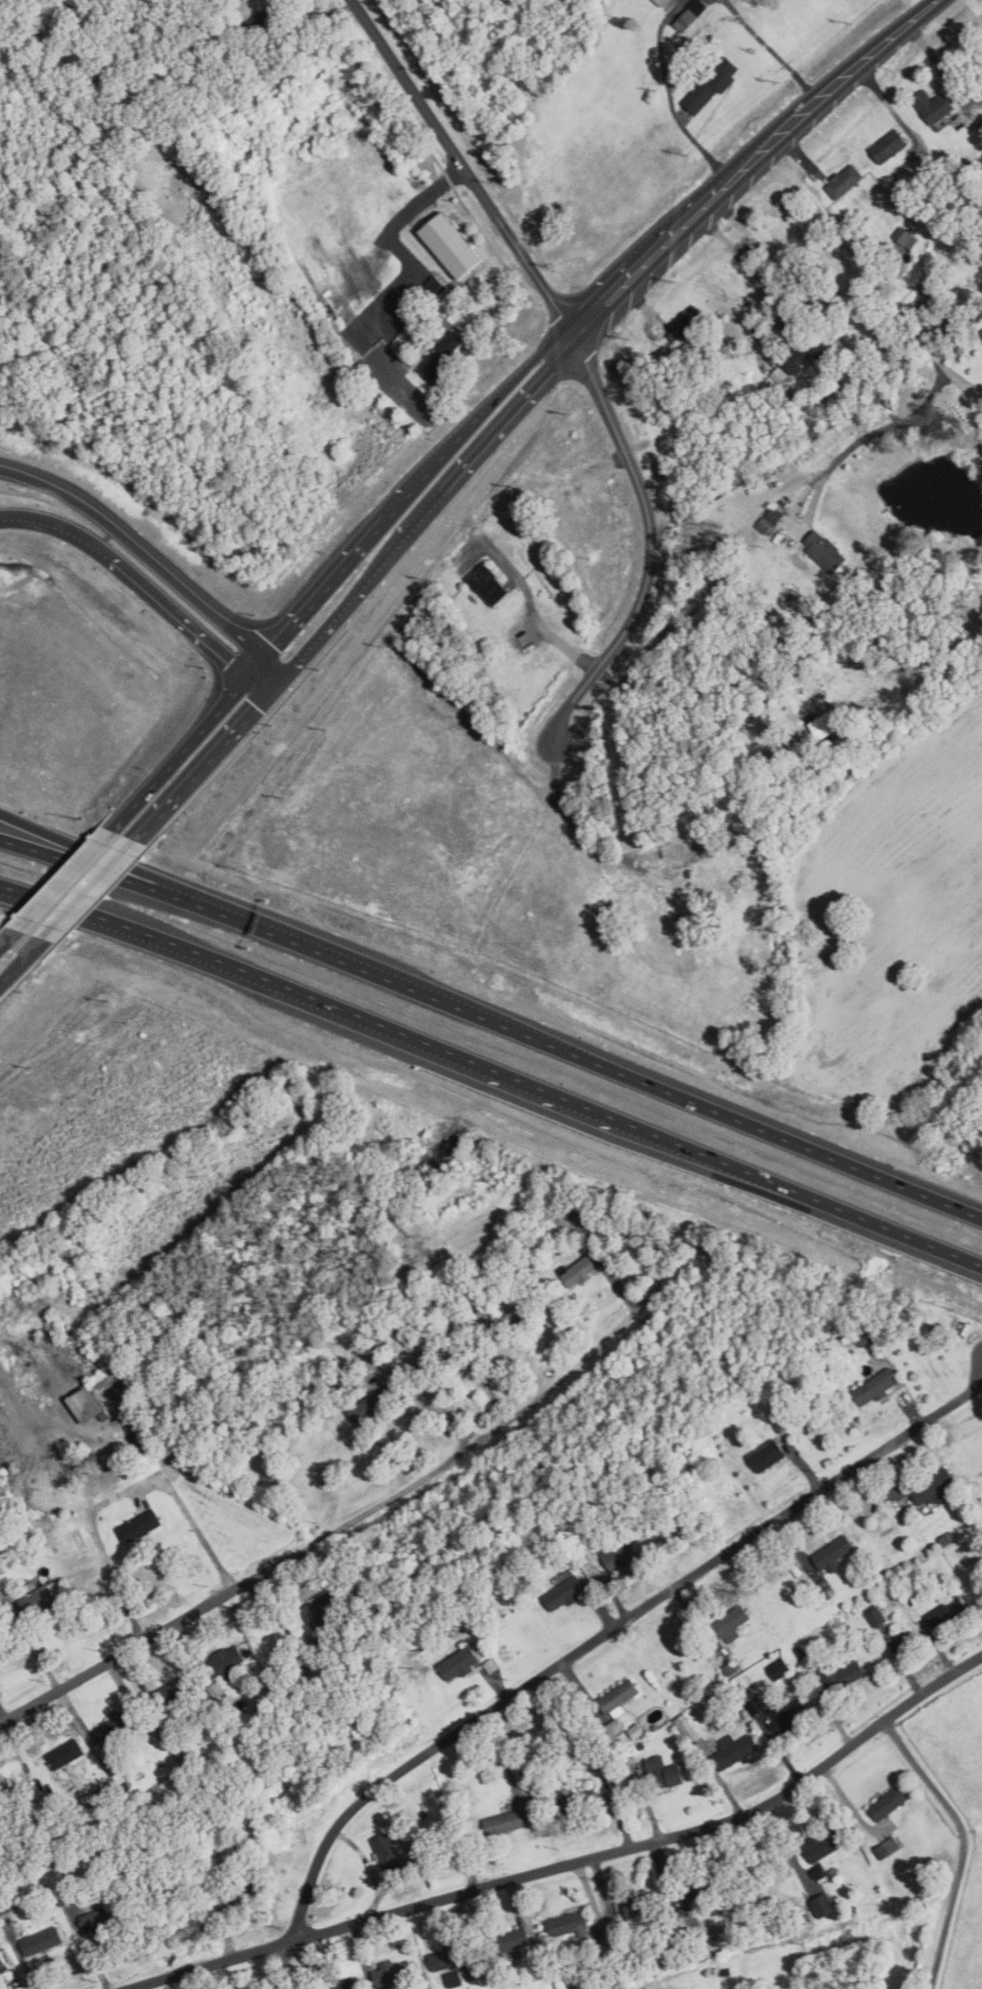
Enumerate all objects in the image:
building: (214, 0)
building: (662, 2)
road: (921, 3)
building: (691, 14)
building: (267, 18)
road: (886, 37)
road: (771, 48)
road: (938, 64)
building: (168, 67)
building: (976, 74)
building: (710, 82)
road: (669, 93)
road: (889, 104)
building: (933, 105)
road: (768, 139)
building: (888, 146)
road: (461, 165)
building: (845, 181)
building: (904, 234)
building: (451, 246)
road: (854, 254)
road: (747, 264)
road: (635, 269)
building: (433, 288)
road: (392, 301)
building: (688, 325)
building: (981, 338)
building: (730, 356)
building: (796, 358)
building: (440, 359)
building: (714, 369)
road: (519, 371)
building: (780, 374)
road: (962, 385)
building: (826, 389)
building: (881, 398)
road: (979, 398)
road: (483, 445)
road: (442, 453)
road: (837, 460)
building: (775, 515)
road: (649, 538)
building: (788, 542)
road: (140, 550)
building: (826, 551)
road: (339, 573)
road: (134, 576)
building: (489, 583)
road: (333, 620)
traffic signals: (265, 658)
road: (257, 667)
road: (271, 671)
traffic signals: (250, 676)
road: (263, 680)
traffic signals: (277, 684)
building: (822, 729)
road: (176, 758)
road: (203, 767)
road: (109, 869)
road: (63, 879)
road: (142, 879)
road: (143, 892)
road: (72, 908)
road: (12, 930)
road: (27, 954)
road: (389, 987)
building: (756, 997)
road: (308, 1001)
road: (738, 1124)
road: (797, 1195)
building: (558, 1199)
building: (607, 1218)
building: (513, 1236)
building: (579, 1272)
building: (434, 1309)
building: (504, 1320)
building: (861, 1335)
building: (407, 1357)
road: (478, 1373)
building: (875, 1387)
building: (89, 1404)
building: (373, 1404)
road: (434, 1406)
building: (137, 1433)
road: (393, 1437)
building: (767, 1455)
building: (936, 1487)
road: (119, 1496)
building: (139, 1527)
building: (567, 1527)
road: (330, 1533)
building: (944, 1542)
building: (834, 1552)
building: (620, 1554)
building: (797, 1570)
building: (524, 1585)
building: (826, 1588)
building: (563, 1594)
building: (33, 1603)
building: (322, 1606)
building: (946, 1612)
building: (876, 1614)
building: (733, 1622)
building: (1, 1629)
road: (604, 1630)
building: (849, 1630)
building: (801, 1651)
building: (226, 1660)
building: (727, 1661)
building: (459, 1664)
building: (491, 1665)
building: (781, 1668)
building: (303, 1672)
building: (841, 1674)
building: (217, 1689)
building: (173, 1691)
building: (619, 1697)
building: (720, 1698)
building: (787, 1715)
building: (684, 1722)
building: (614, 1728)
building: (694, 1737)
building: (118, 1740)
building: (641, 1744)
building: (618, 1747)
building: (102, 1750)
building: (734, 1750)
building: (66, 1754)
building: (599, 1758)
building: (543, 1765)
building: (665, 1771)
building: (578, 1802)
building: (889, 1804)
building: (100, 1814)
building: (508, 1822)
road: (964, 1842)
building: (823, 1844)
building: (408, 1845)
building: (888, 1848)
building: (387, 1852)
road: (428, 1852)
road: (570, 1861)
road: (369, 1866)
building: (835, 1870)
building: (818, 1871)
building: (823, 1879)
building: (246, 1884)
building: (695, 1887)
building: (64, 1895)
building: (215, 1902)
building: (4, 1905)
building: (640, 1905)
building: (824, 1905)
building: (101, 1917)
building: (568, 1923)
building: (510, 1940)
building: (684, 1940)
building: (42, 1941)
building: (447, 1958)
building: (636, 1958)
road: (20, 1960)
building: (2, 1962)
building: (604, 1966)
building: (727, 1971)
building: (393, 1973)
building: (455, 1978)
building: (341, 1984)
building: (573, 1987)

